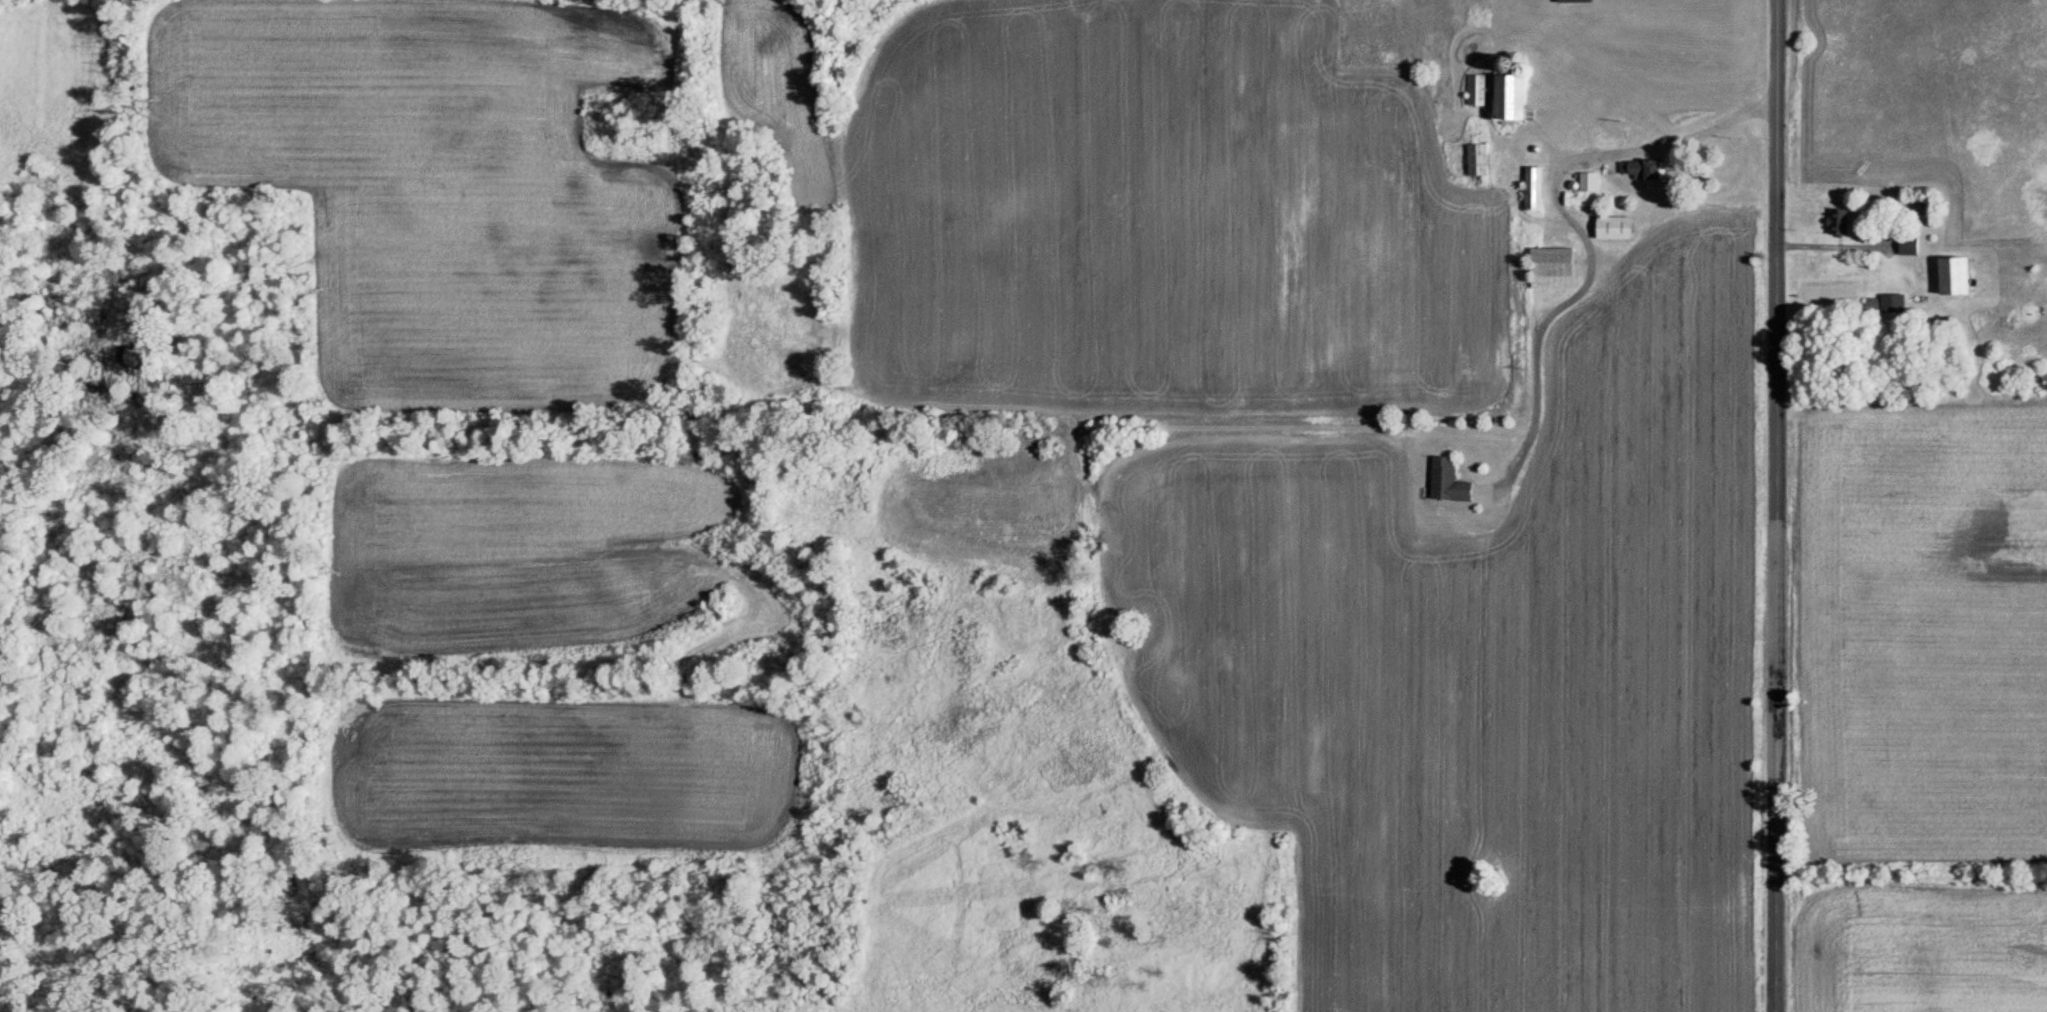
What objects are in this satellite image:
building: (1574, 1)
building: (1477, 89)
building: (1508, 96)
building: (1477, 159)
building: (1642, 168)
building: (1588, 181)
building: (1533, 187)
building: (1838, 221)
road: (1575, 224)
building: (1613, 226)
building: (1908, 244)
building: (1551, 267)
building: (1952, 274)
building: (1447, 482)
road: (1781, 505)

